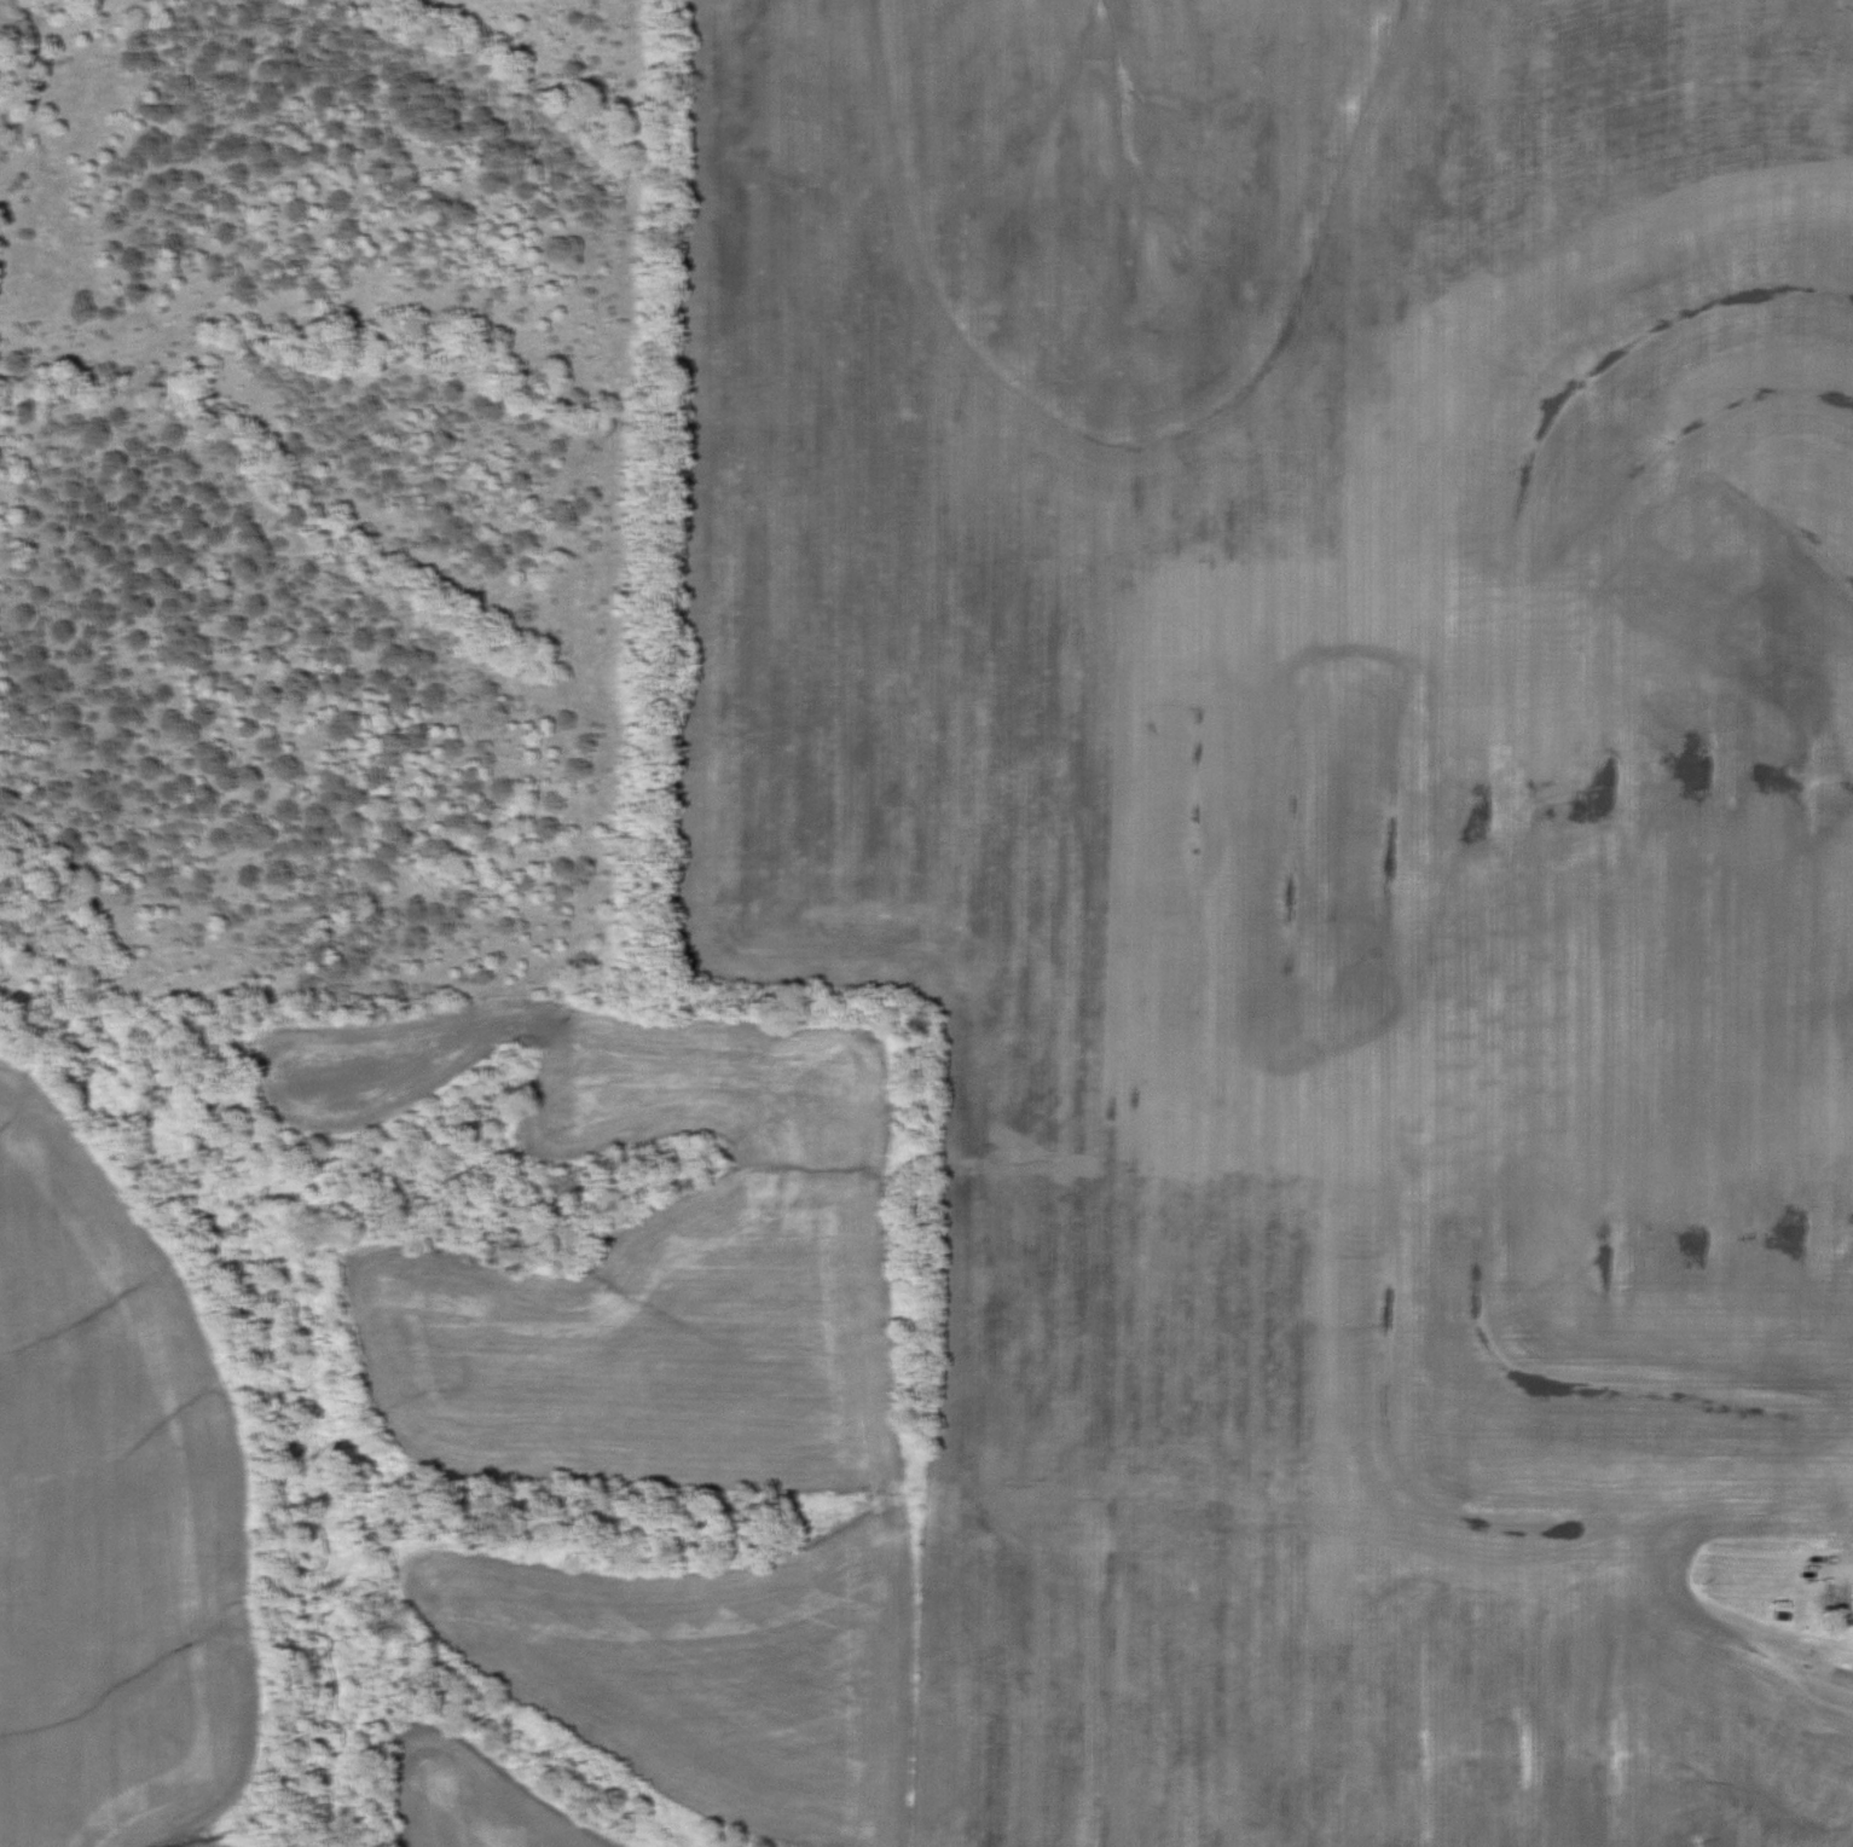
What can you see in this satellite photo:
road: (1831, 1594)
building: (1851, 1605)

